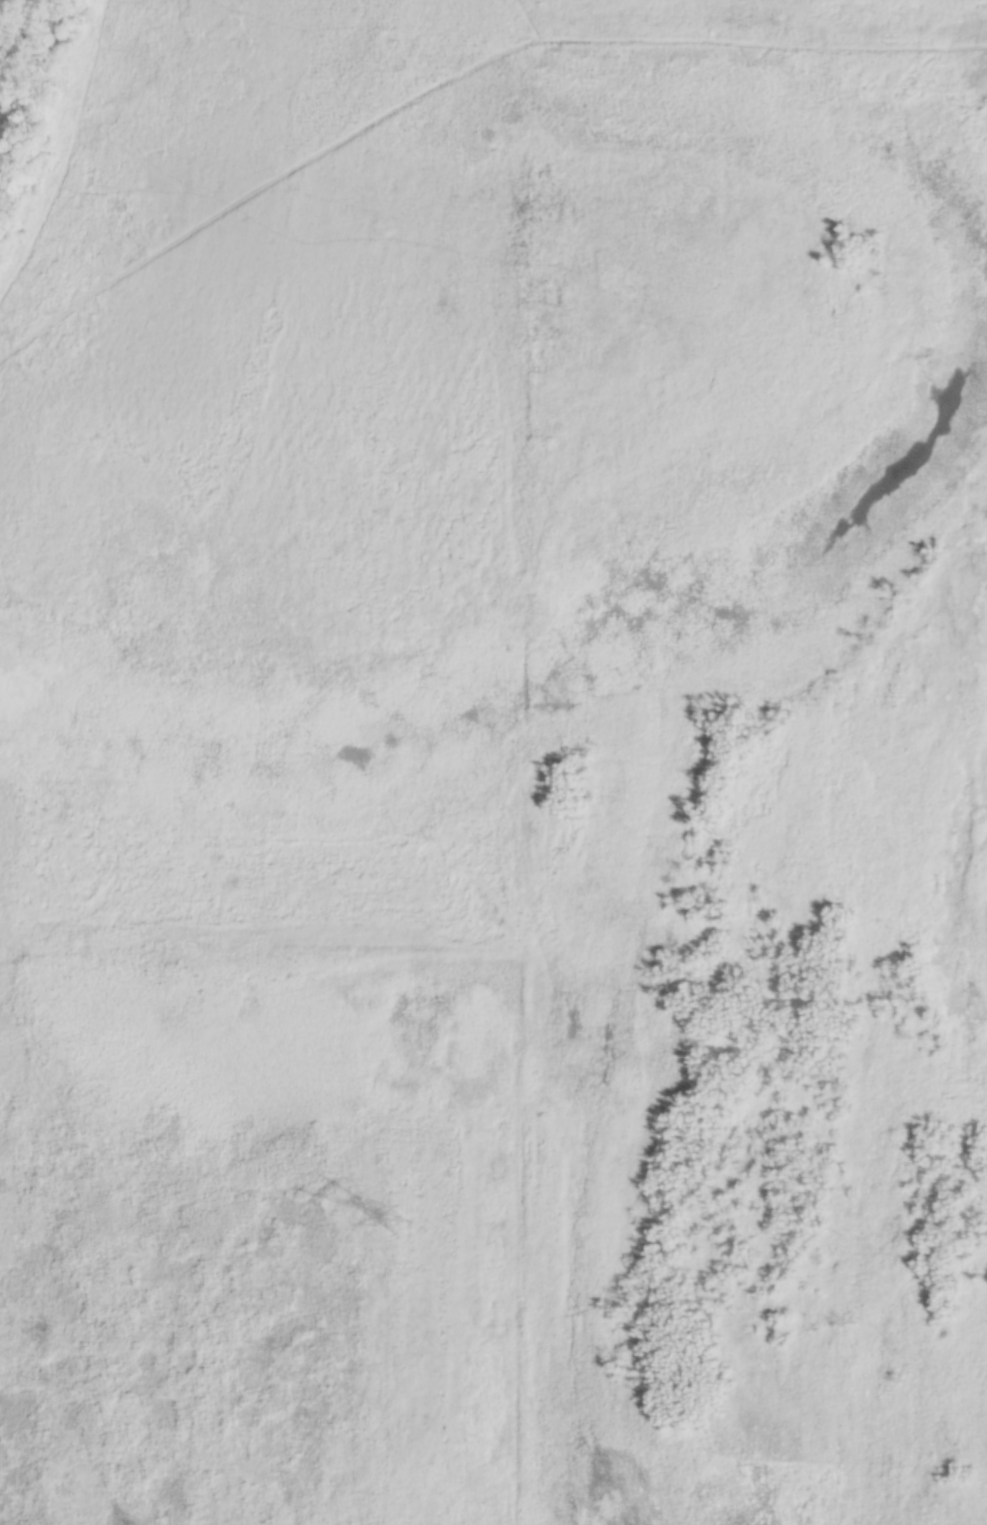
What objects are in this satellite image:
power tower: (390, 1216)

